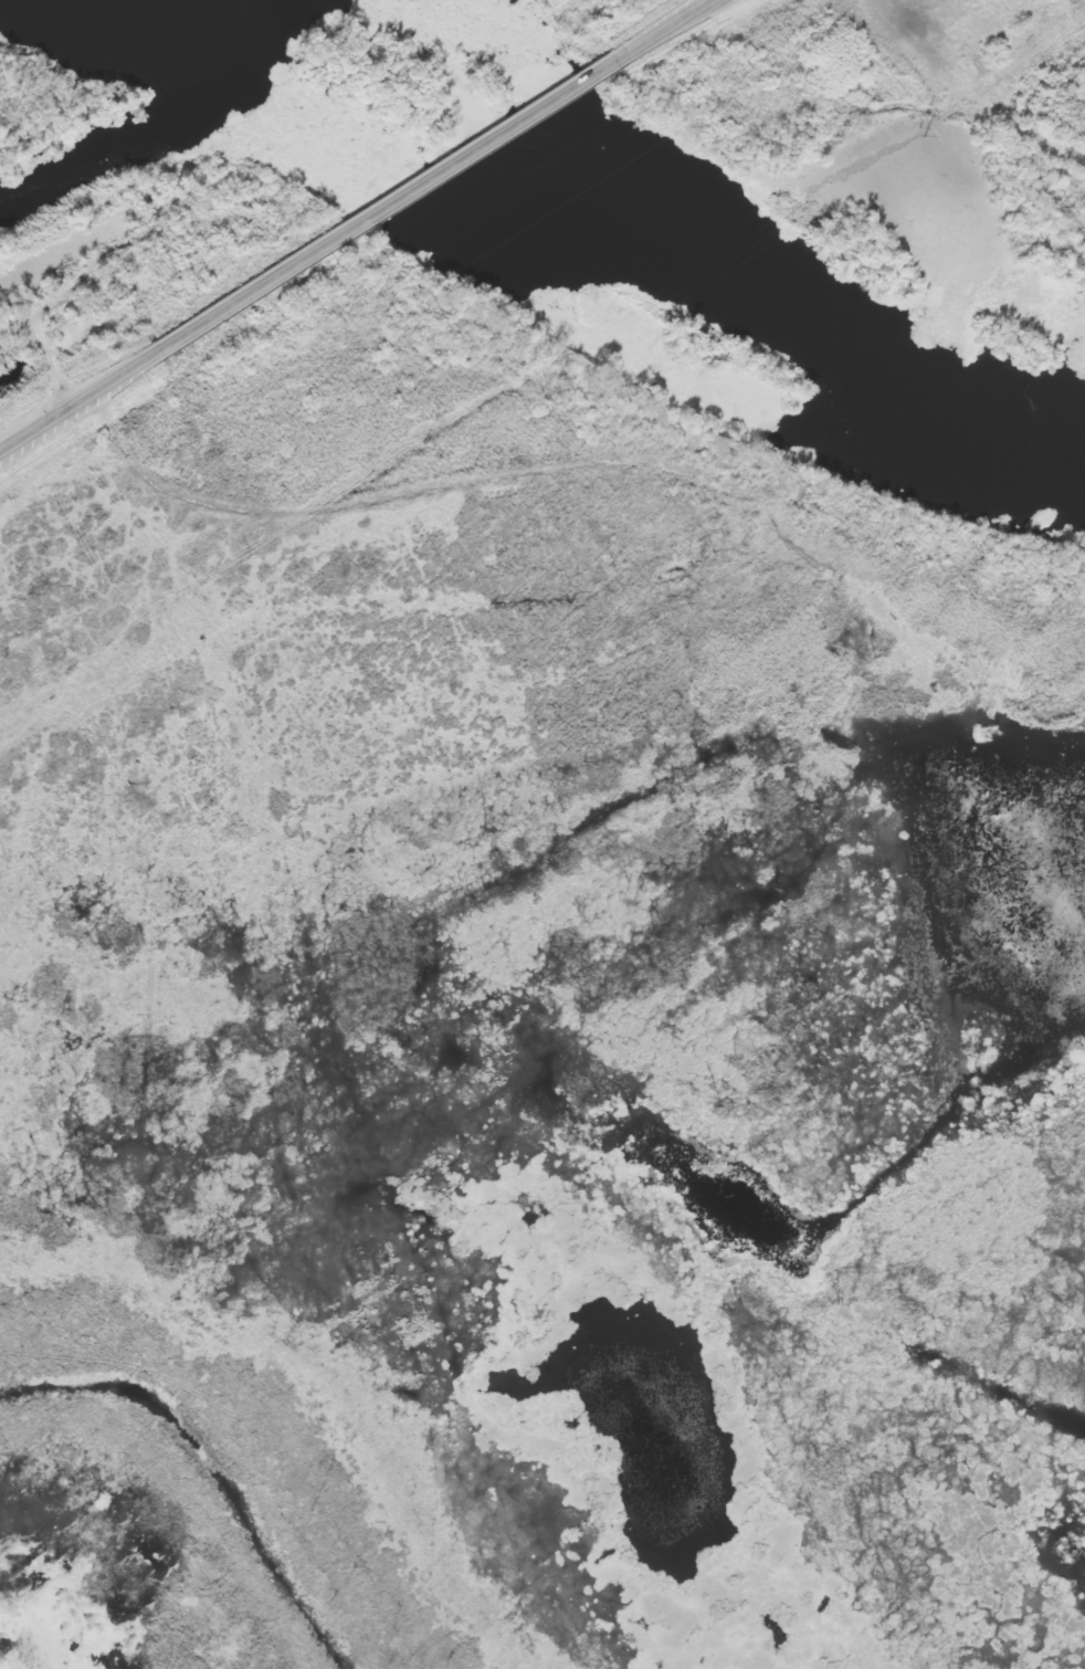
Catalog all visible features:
road: (667, 28)
power tower: (920, 133)
road: (391, 203)
road: (80, 401)
power tower: (429, 447)

